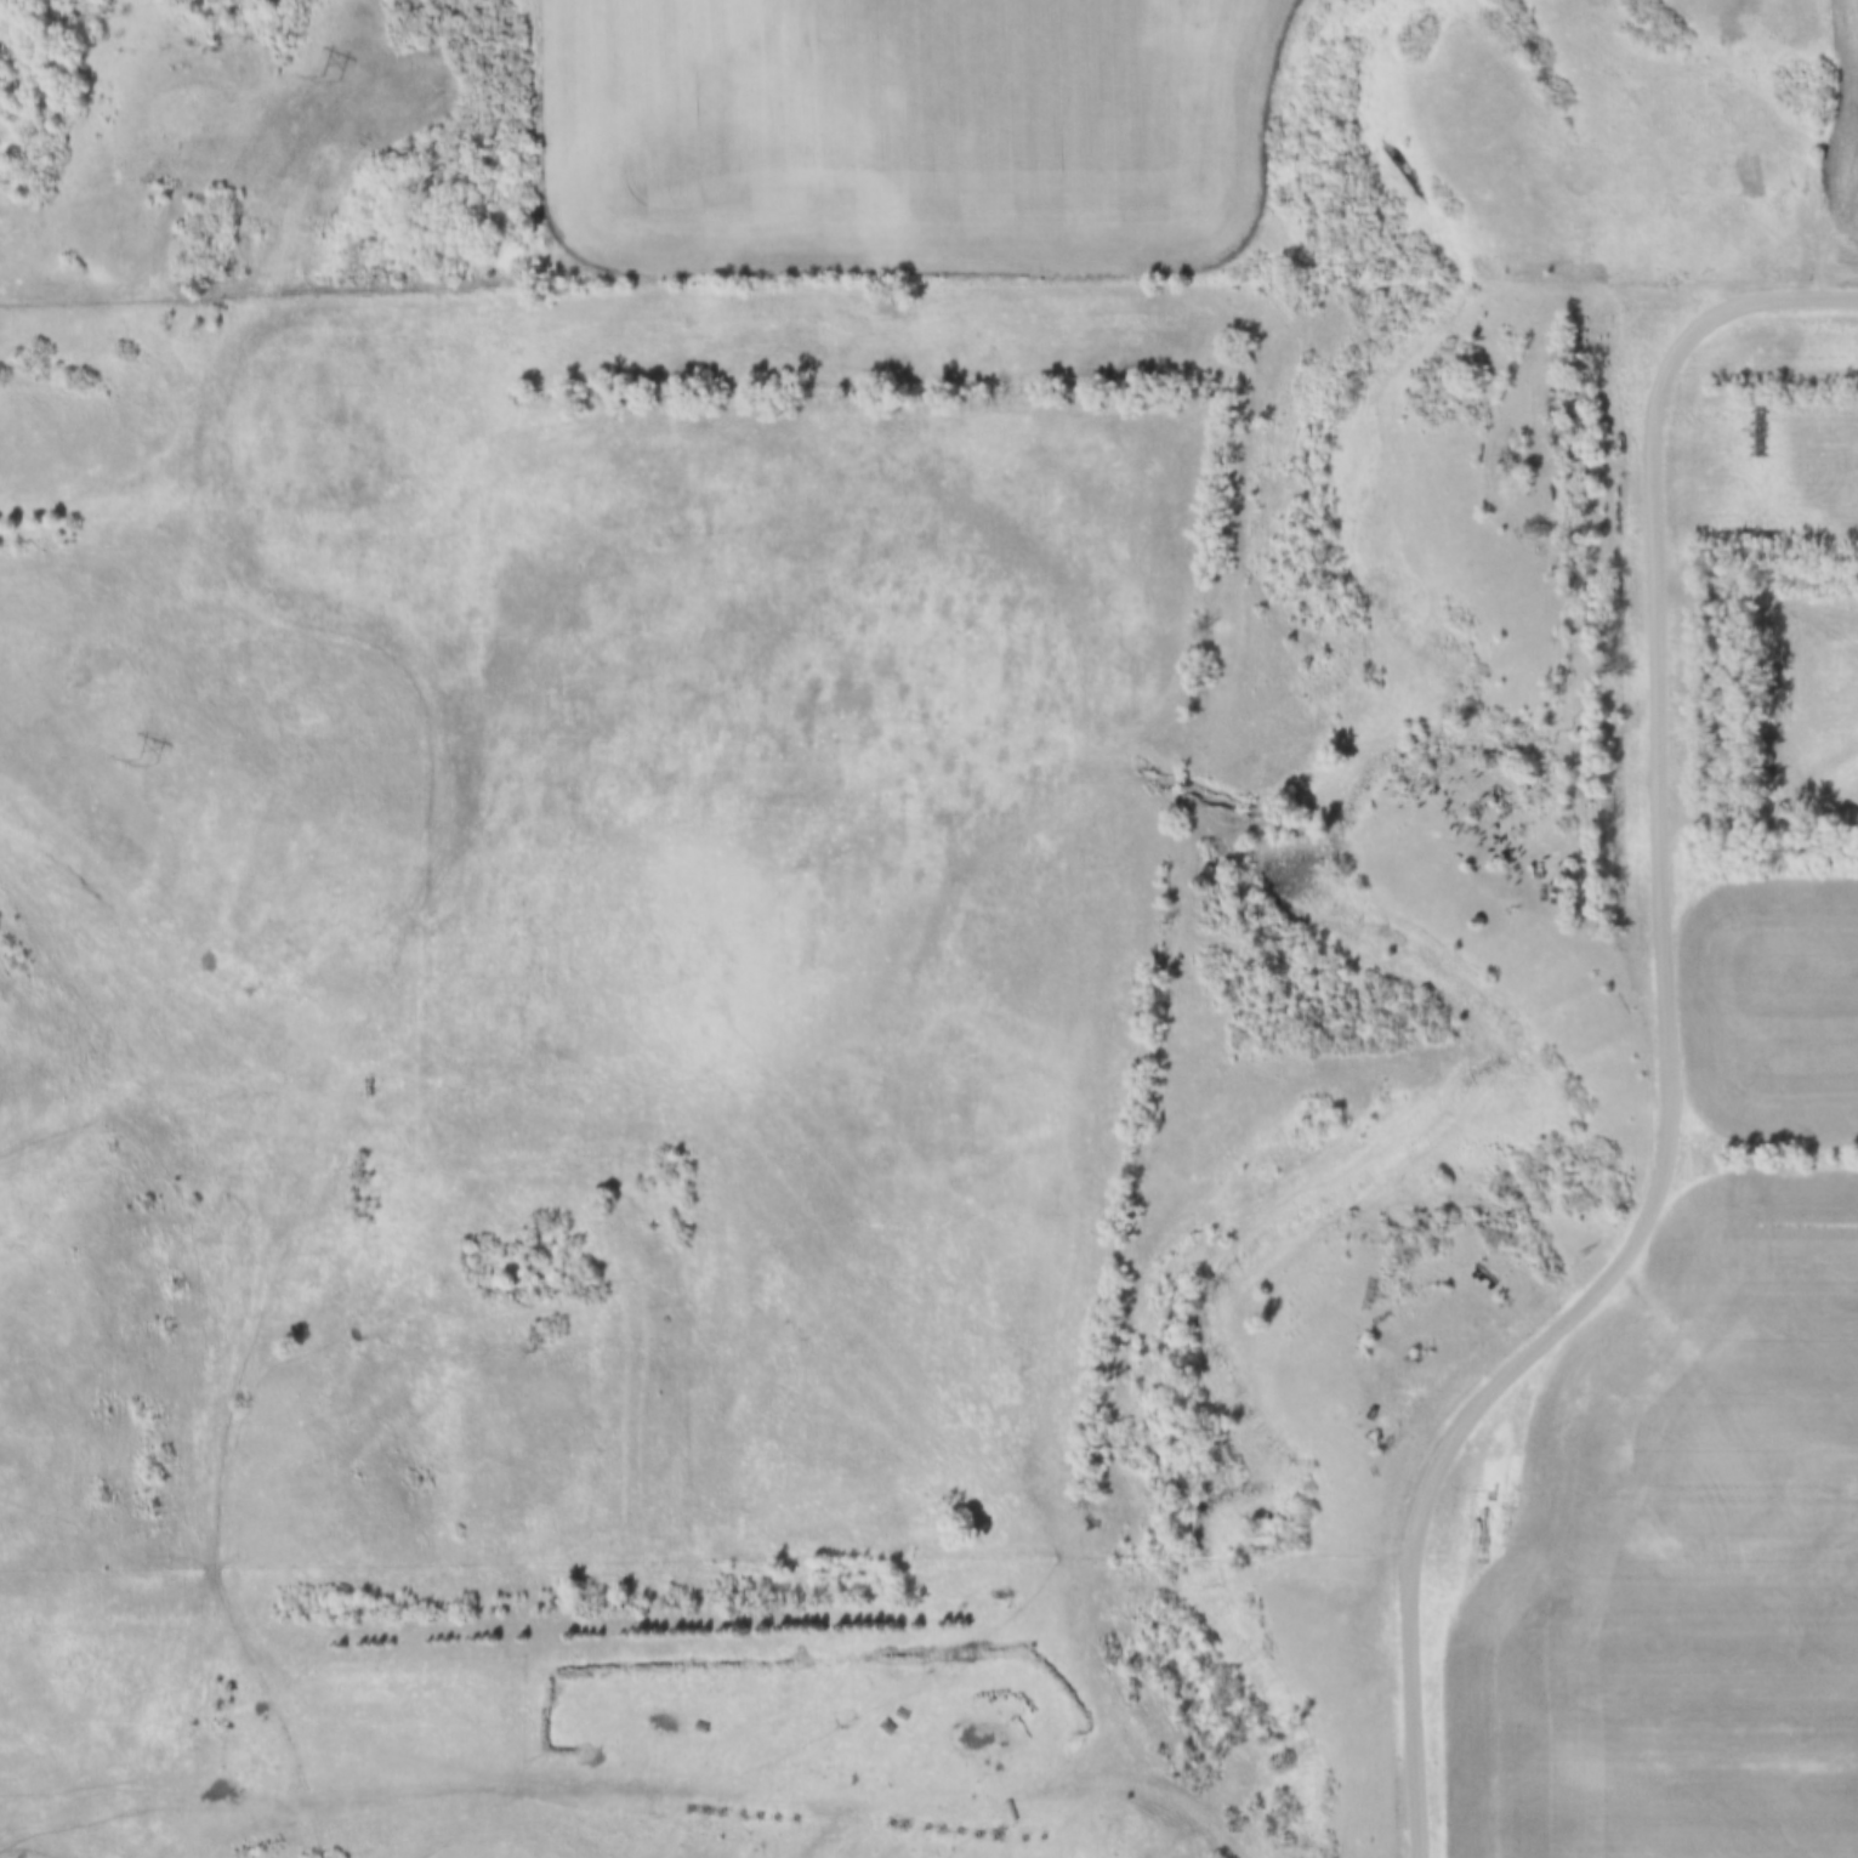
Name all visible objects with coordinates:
power tower: (334, 79)
power tower: (154, 763)
road: (1760, 808)
road: (1672, 1049)
road: (1188, 1808)

